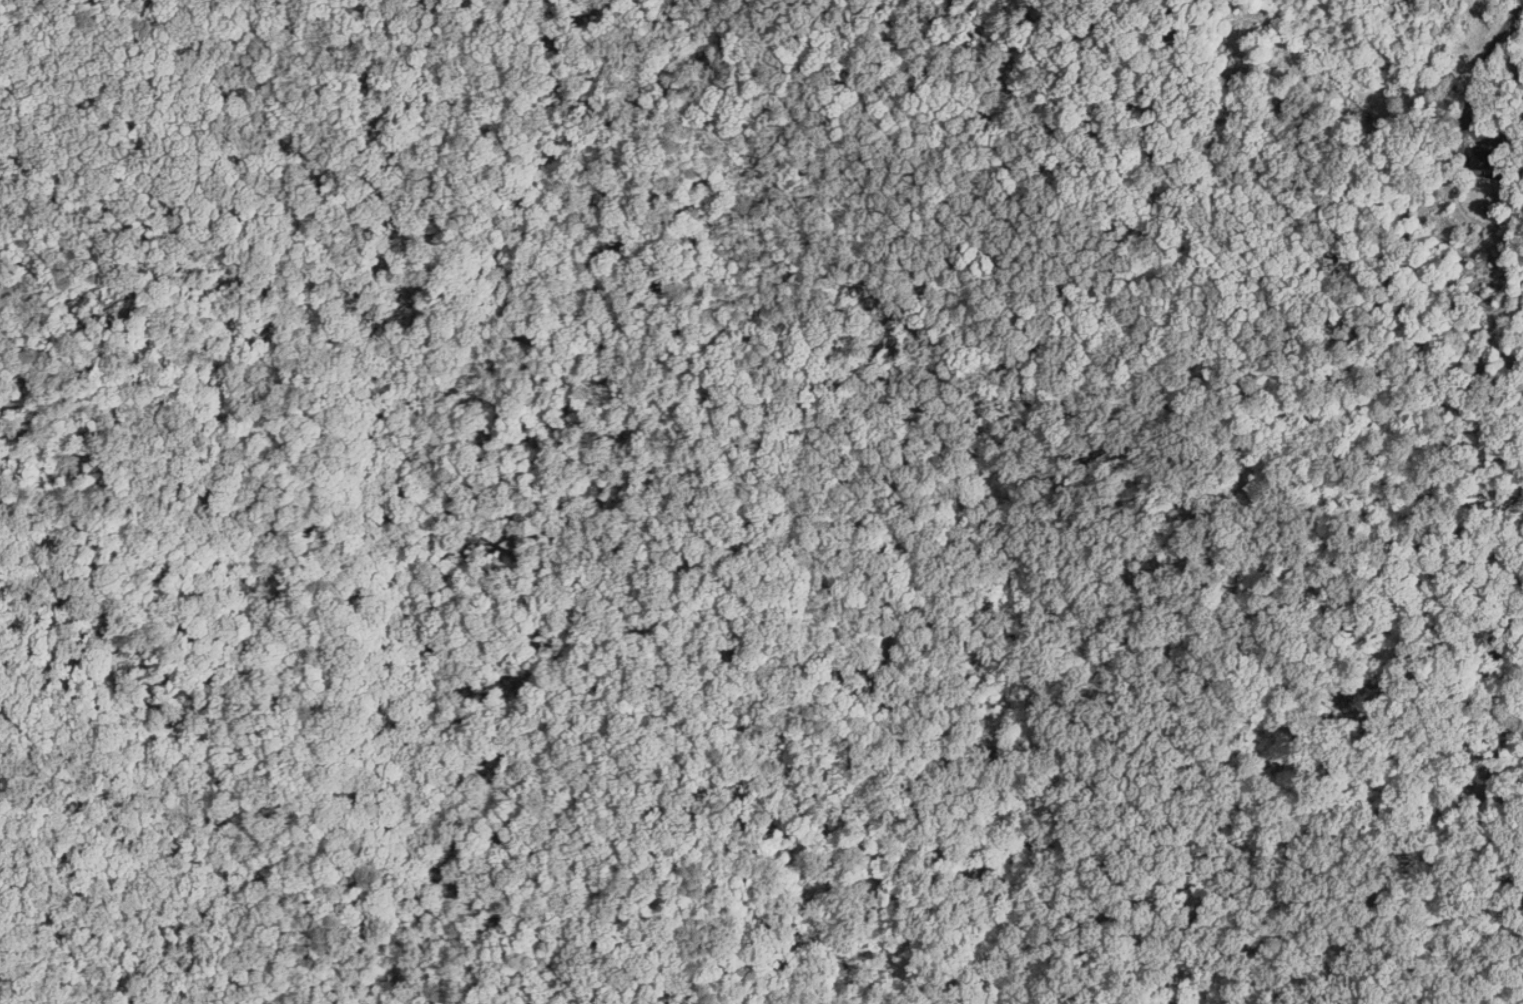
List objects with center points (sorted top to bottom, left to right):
road: (1489, 49)
building: (1488, 158)

